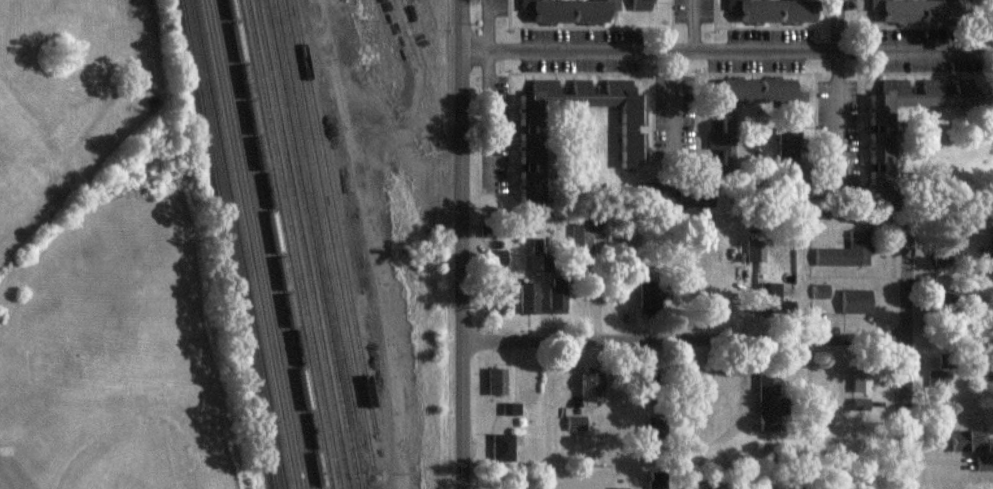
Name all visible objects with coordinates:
building: (641, 4)
building: (569, 10)
building: (772, 10)
building: (915, 10)
railway: (401, 21)
road: (490, 25)
road: (691, 25)
road: (718, 49)
road: (838, 81)
building: (917, 97)
road: (676, 100)
building: (537, 101)
building: (632, 116)
building: (721, 127)
building: (527, 148)
building: (886, 167)
building: (527, 184)
railway: (320, 232)
railway: (339, 233)
railway: (331, 234)
building: (581, 237)
railway: (231, 244)
railway: (241, 244)
railway: (250, 244)
railway: (256, 244)
railway: (267, 244)
railway: (277, 244)
railway: (287, 244)
railway: (295, 244)
railway: (305, 244)
railway: (315, 244)
road: (468, 244)
building: (755, 249)
building: (847, 250)
building: (821, 290)
building: (768, 294)
building: (528, 296)
building: (498, 299)
building: (556, 299)
building: (856, 300)
road: (688, 340)
road: (906, 369)
building: (938, 377)
building: (496, 380)
building: (861, 380)
building: (591, 385)
building: (768, 399)
building: (860, 403)
building: (511, 408)
road: (686, 414)
building: (576, 422)
building: (968, 439)
building: (503, 446)
building: (984, 462)
building: (657, 482)

